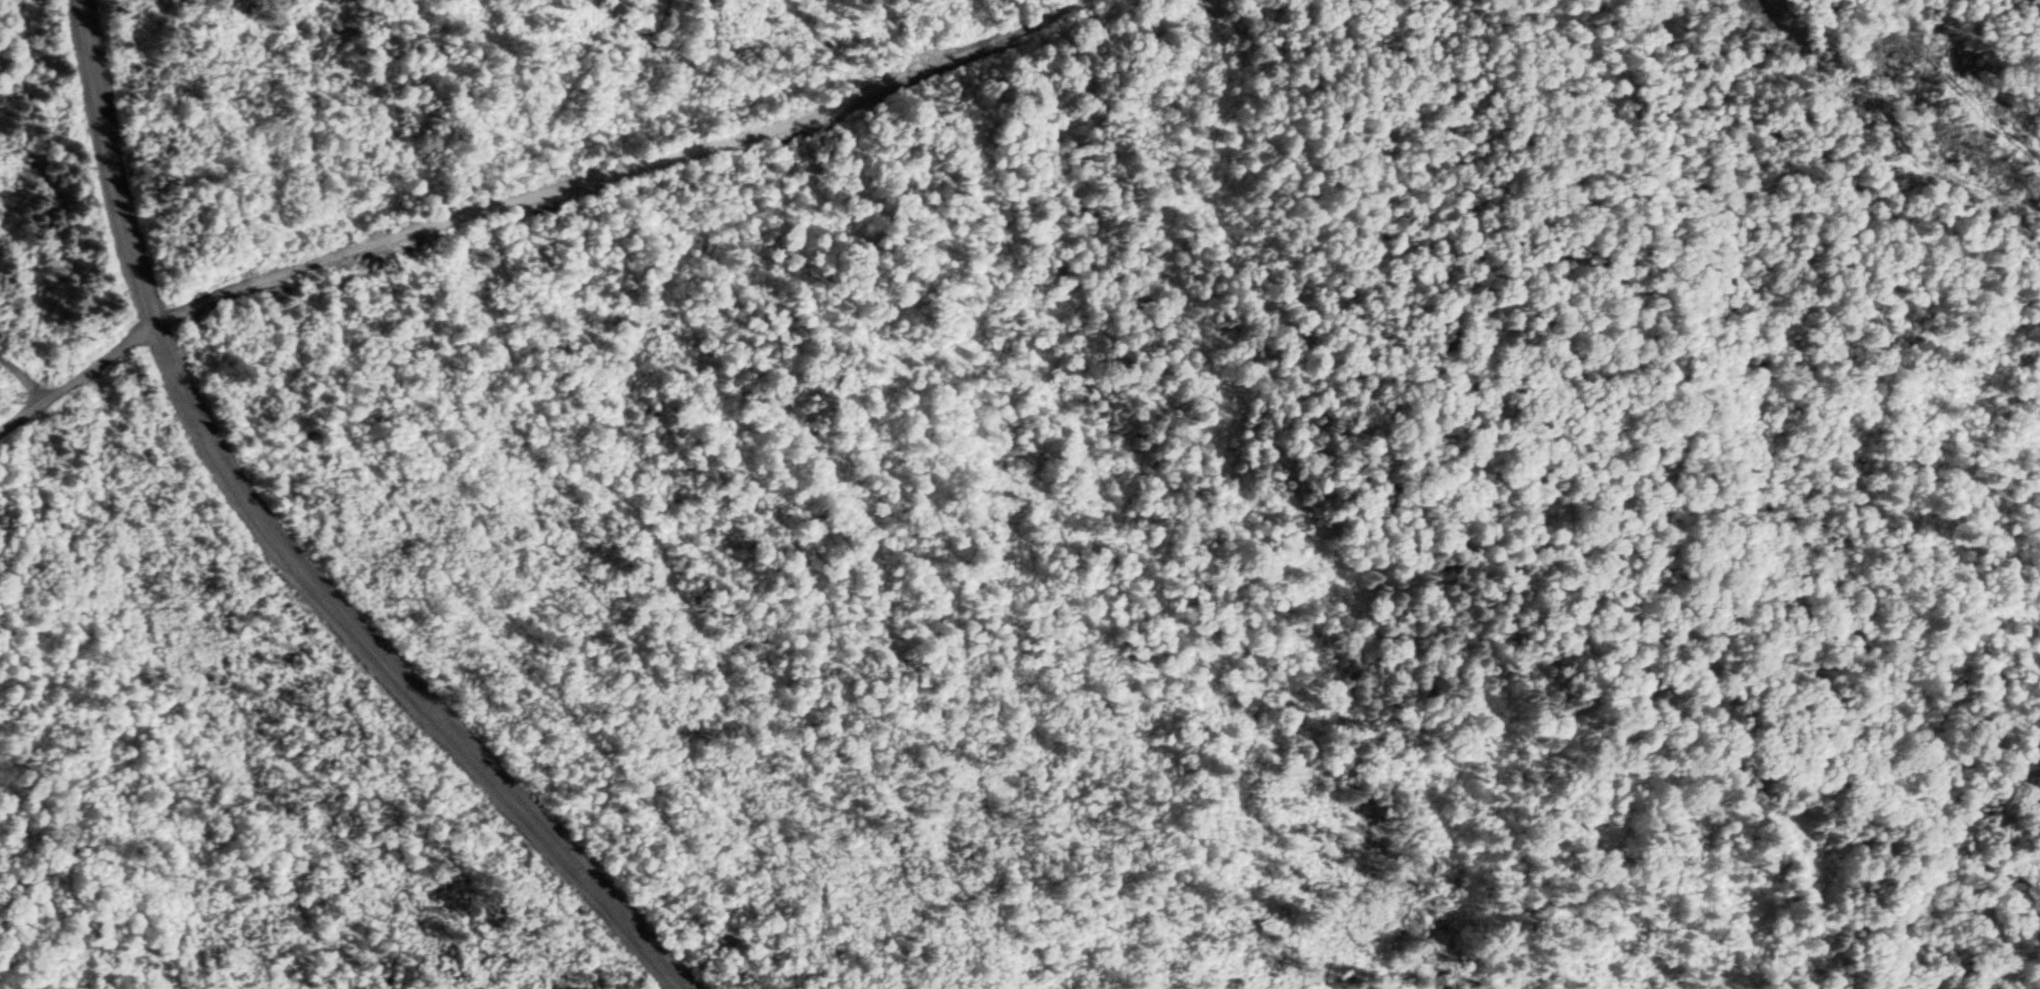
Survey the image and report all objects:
road: (530, 198)
road: (132, 253)
road: (16, 386)
road: (16, 416)
road: (453, 741)

